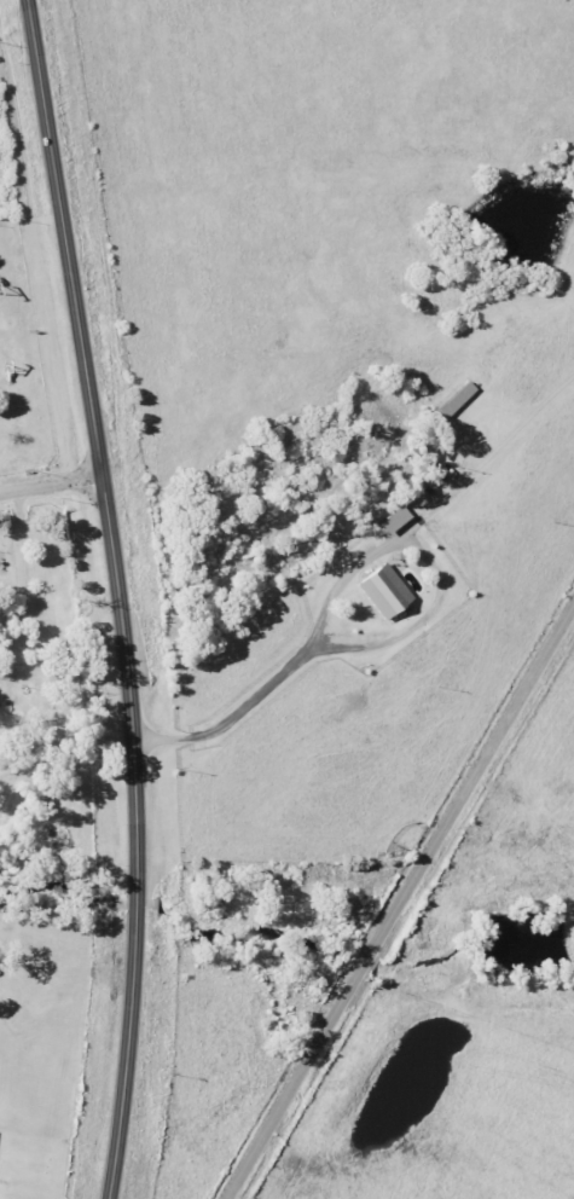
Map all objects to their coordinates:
road: (48, 486)
road: (18, 580)
building: (382, 590)
road: (116, 597)
road: (387, 638)
road: (399, 903)

